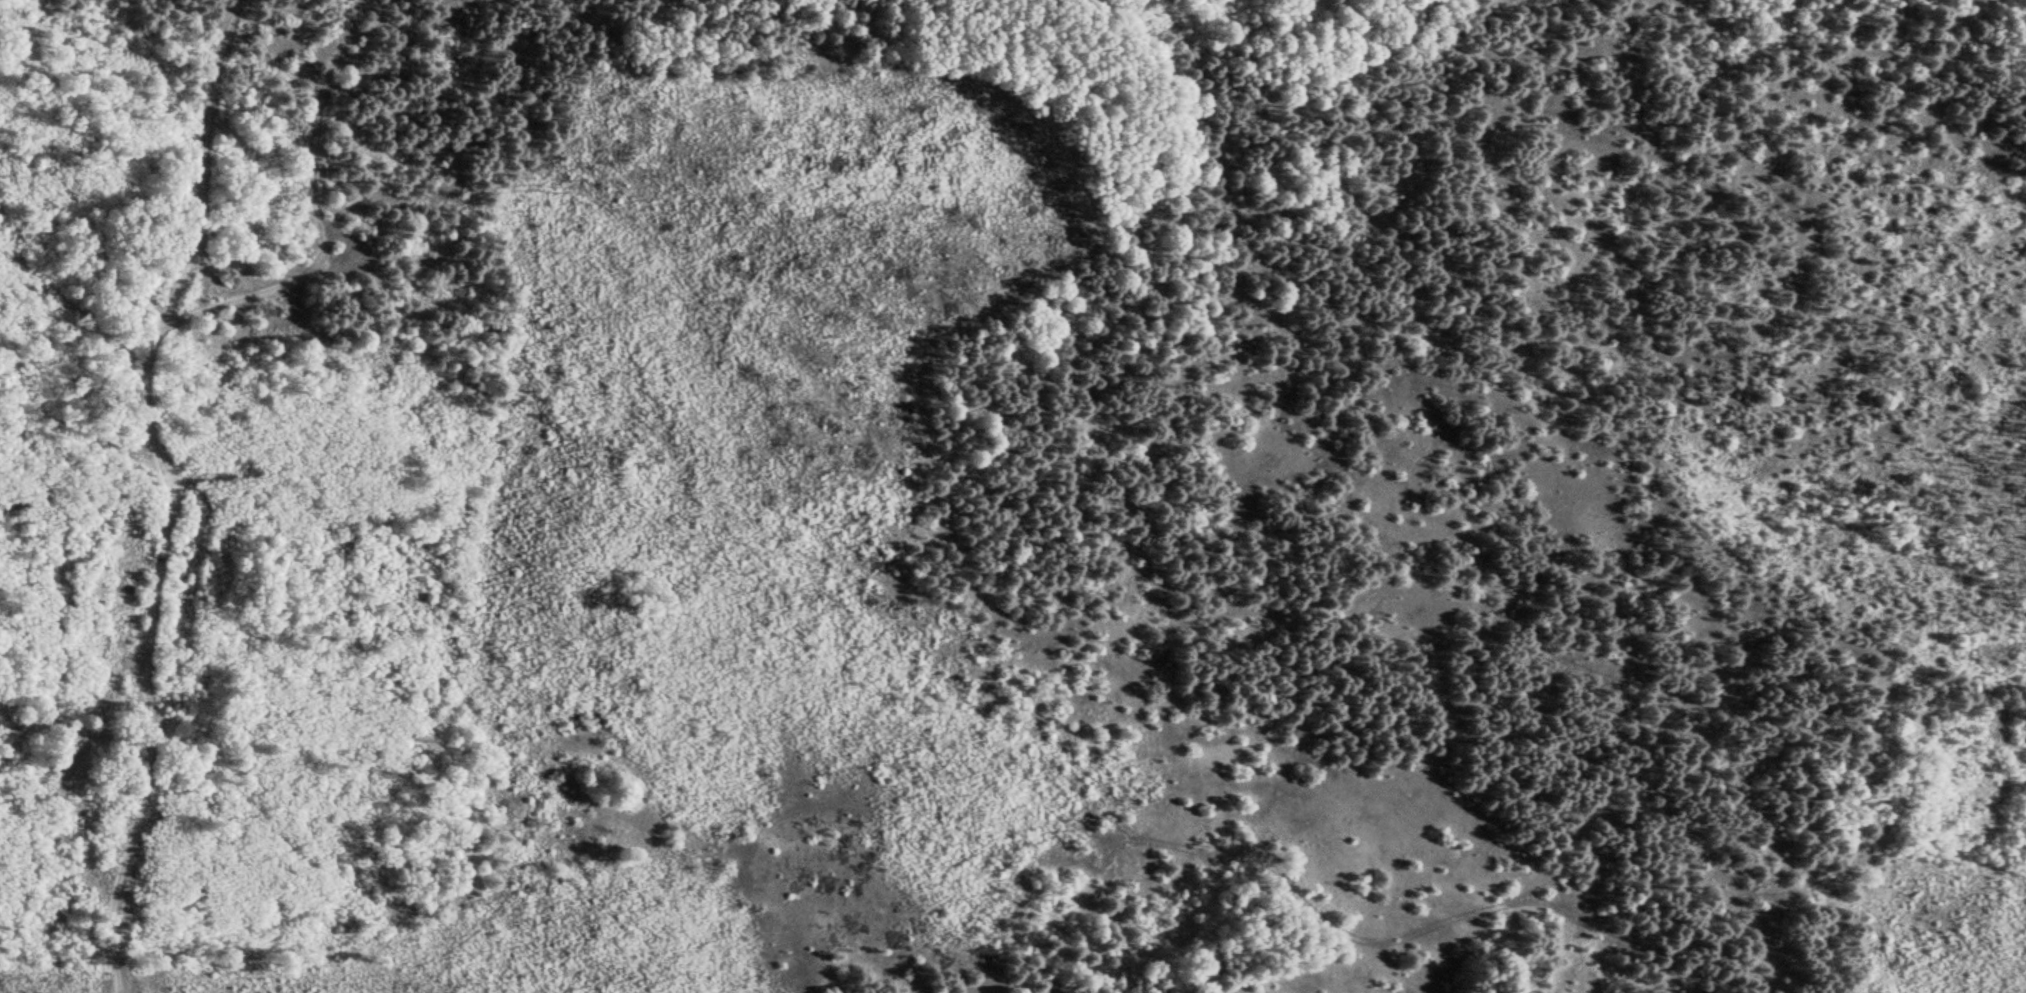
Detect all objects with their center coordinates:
road: (131, 442)

